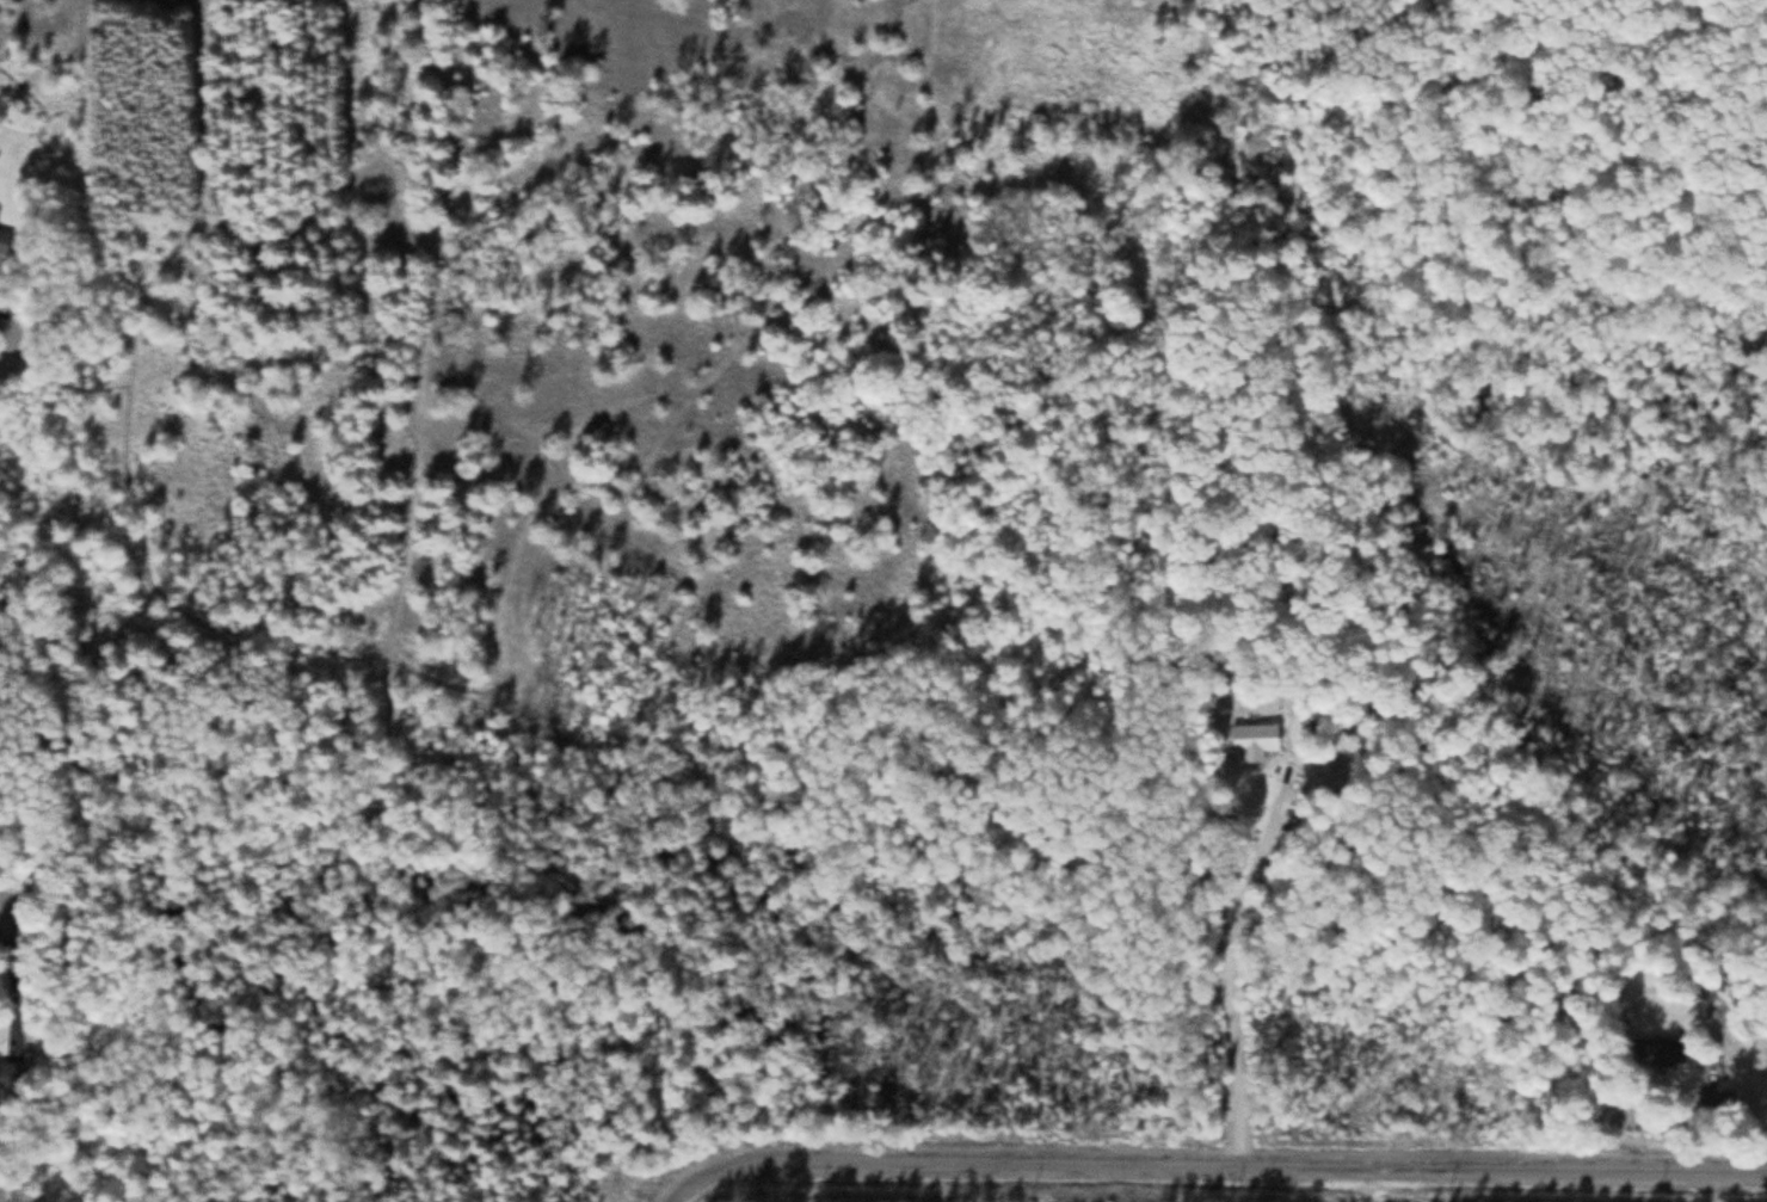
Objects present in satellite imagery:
building: (11, 239)
building: (1250, 739)
road: (2, 916)
building: (1694, 986)
building: (1675, 1049)
building: (10, 1071)
road: (1213, 1159)

